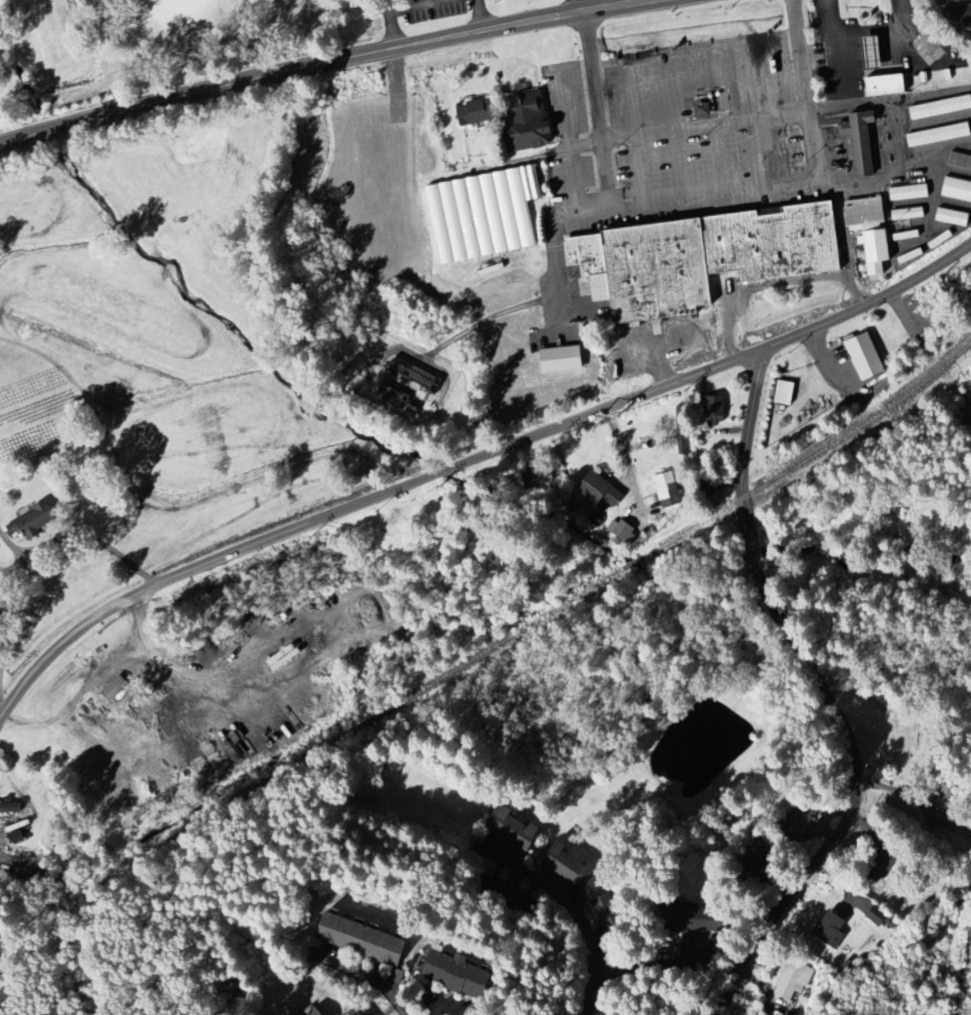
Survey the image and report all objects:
road: (672, 1)
building: (963, 20)
road: (526, 22)
park: (142, 44)
building: (873, 54)
building: (886, 86)
road: (182, 102)
building: (940, 108)
building: (704, 112)
building: (479, 113)
building: (529, 123)
building: (938, 136)
building: (861, 142)
building: (960, 161)
building: (956, 190)
building: (908, 193)
road: (707, 203)
building: (483, 215)
building: (907, 215)
building: (952, 217)
building: (701, 259)
building: (865, 355)
building: (416, 376)
building: (787, 393)
building: (392, 397)
building: (715, 412)
building: (682, 433)
road: (625, 460)
road: (472, 464)
building: (538, 478)
building: (668, 491)
building: (600, 492)
building: (33, 522)
building: (623, 532)
road: (94, 542)
road: (13, 620)
railway: (486, 651)
building: (115, 689)
road: (823, 695)
building: (949, 800)
building: (10, 808)
building: (804, 816)
building: (513, 829)
building: (759, 851)
building: (569, 866)
road: (572, 909)
building: (609, 912)
building: (878, 917)
building: (831, 930)
building: (969, 938)
building: (362, 940)
road: (660, 966)
road: (950, 970)
road: (365, 975)
building: (456, 975)
building: (396, 977)
building: (793, 980)
road: (444, 1005)
building: (317, 1012)
building: (357, 1012)

